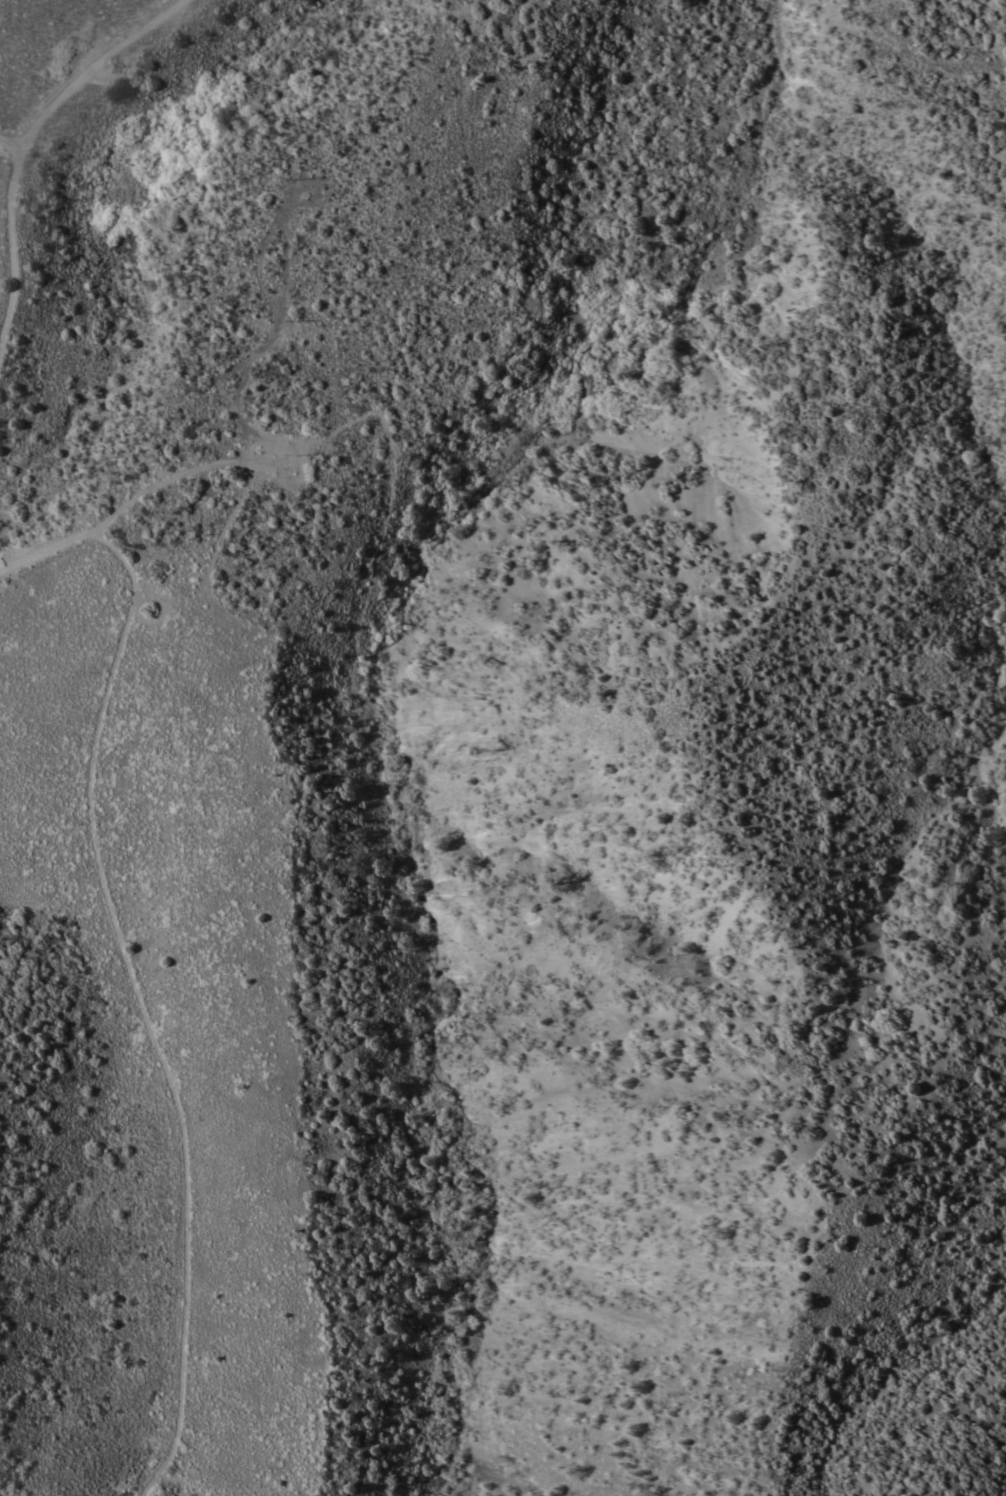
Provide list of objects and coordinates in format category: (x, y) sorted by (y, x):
road: (71, 36)
road: (36, 71)
road: (13, 137)
road: (28, 144)
road: (192, 469)
road: (121, 620)
road: (175, 1111)
road: (158, 1480)

